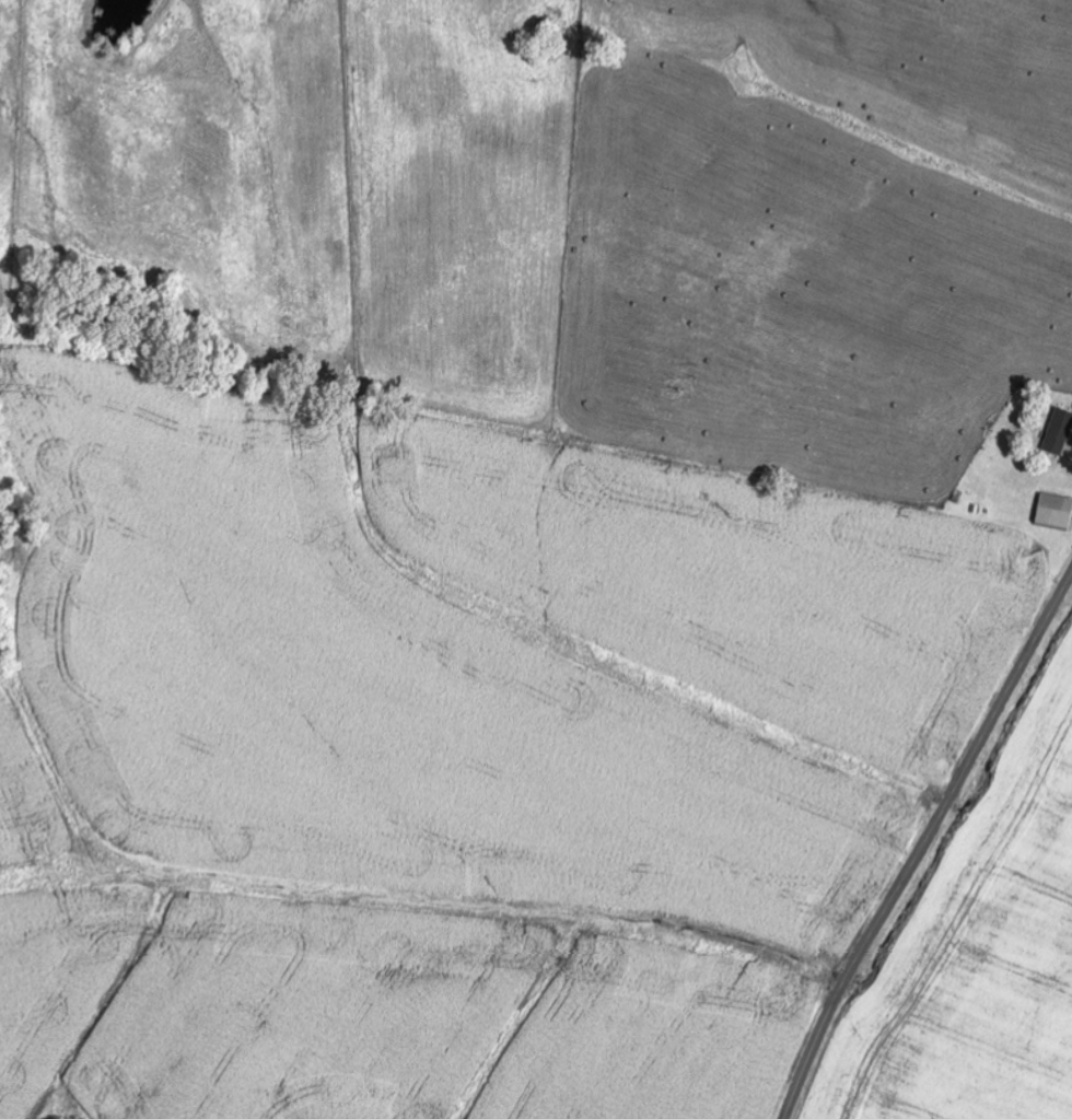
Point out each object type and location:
building: (1059, 432)
building: (1053, 512)
road: (924, 847)

